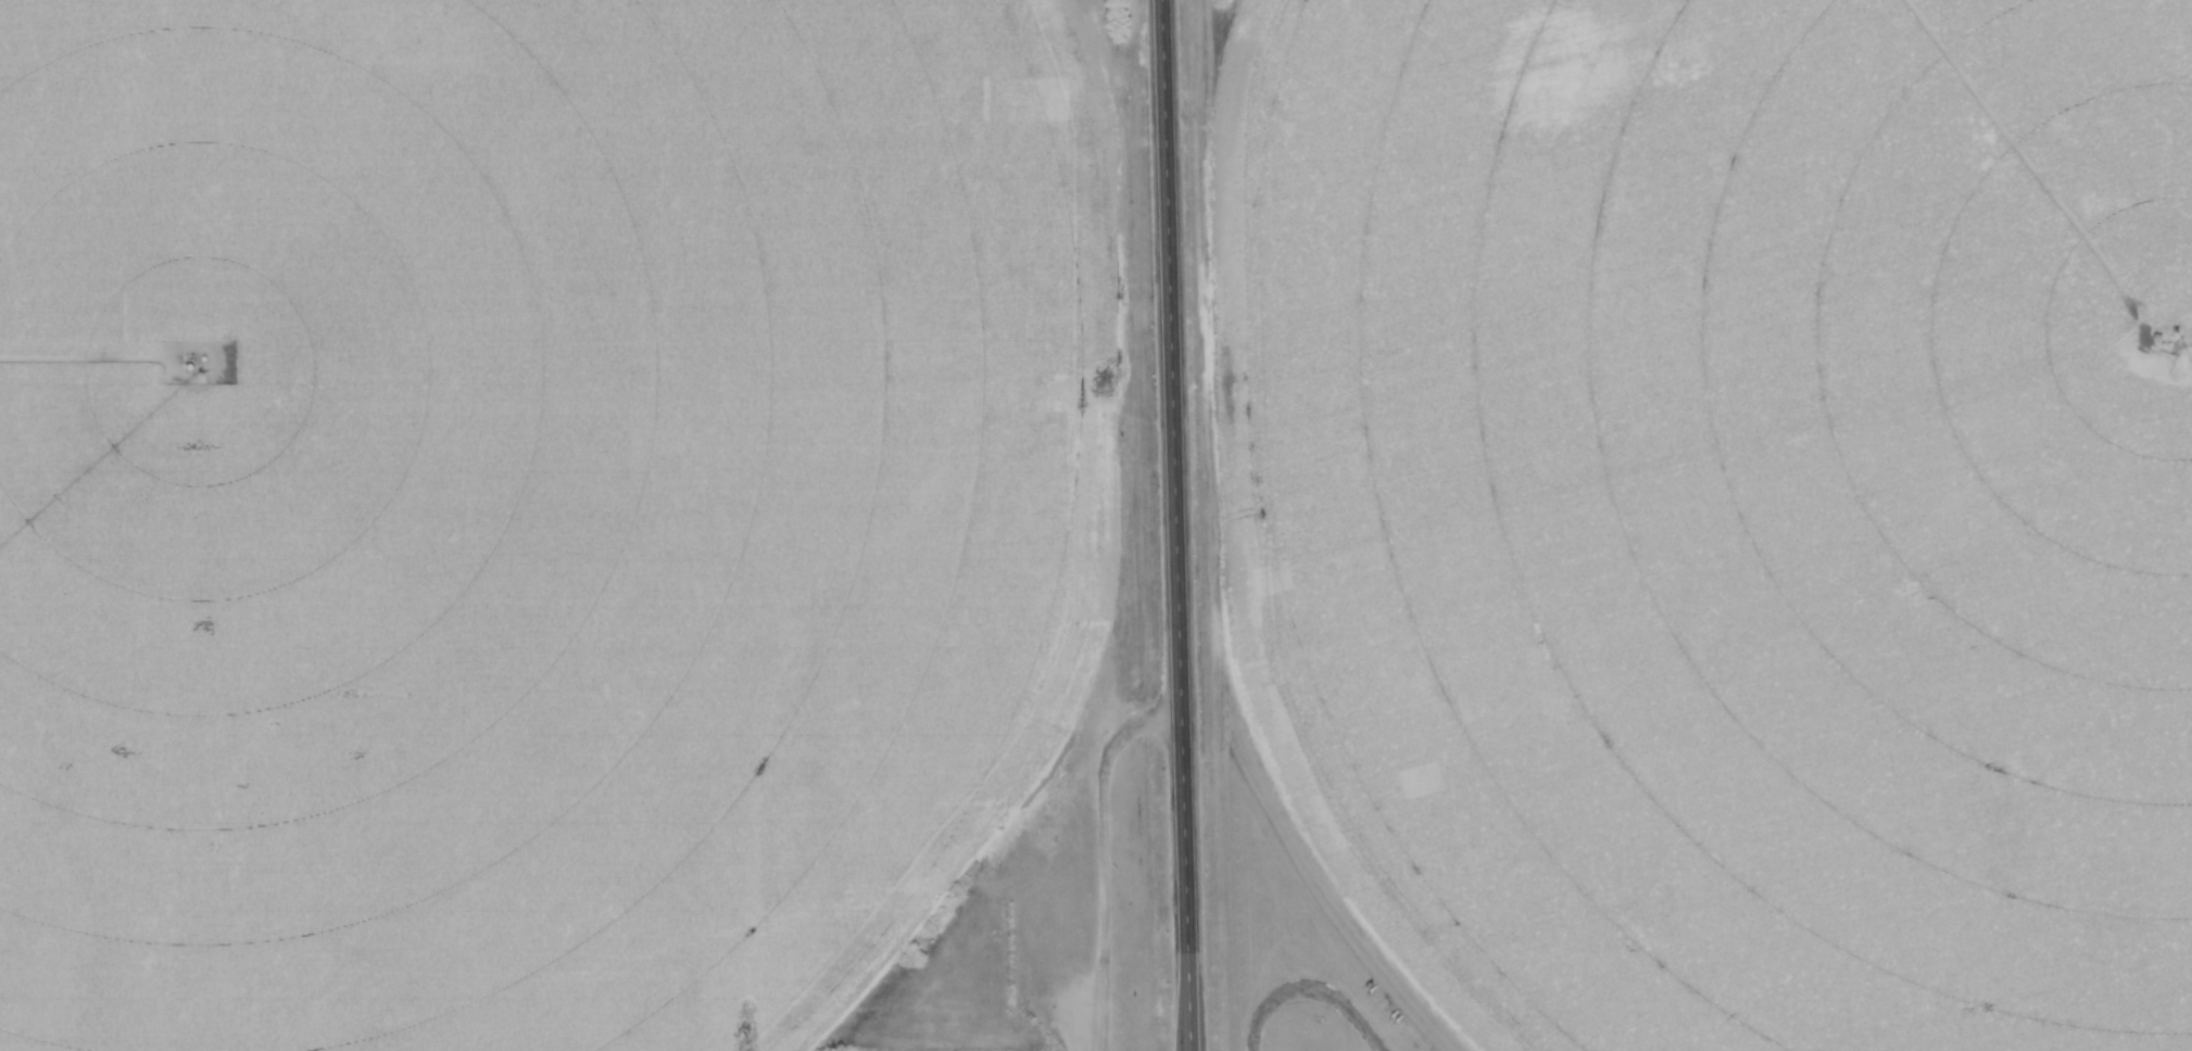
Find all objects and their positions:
building: (1258, 372)
road: (1179, 524)
road: (1106, 854)

